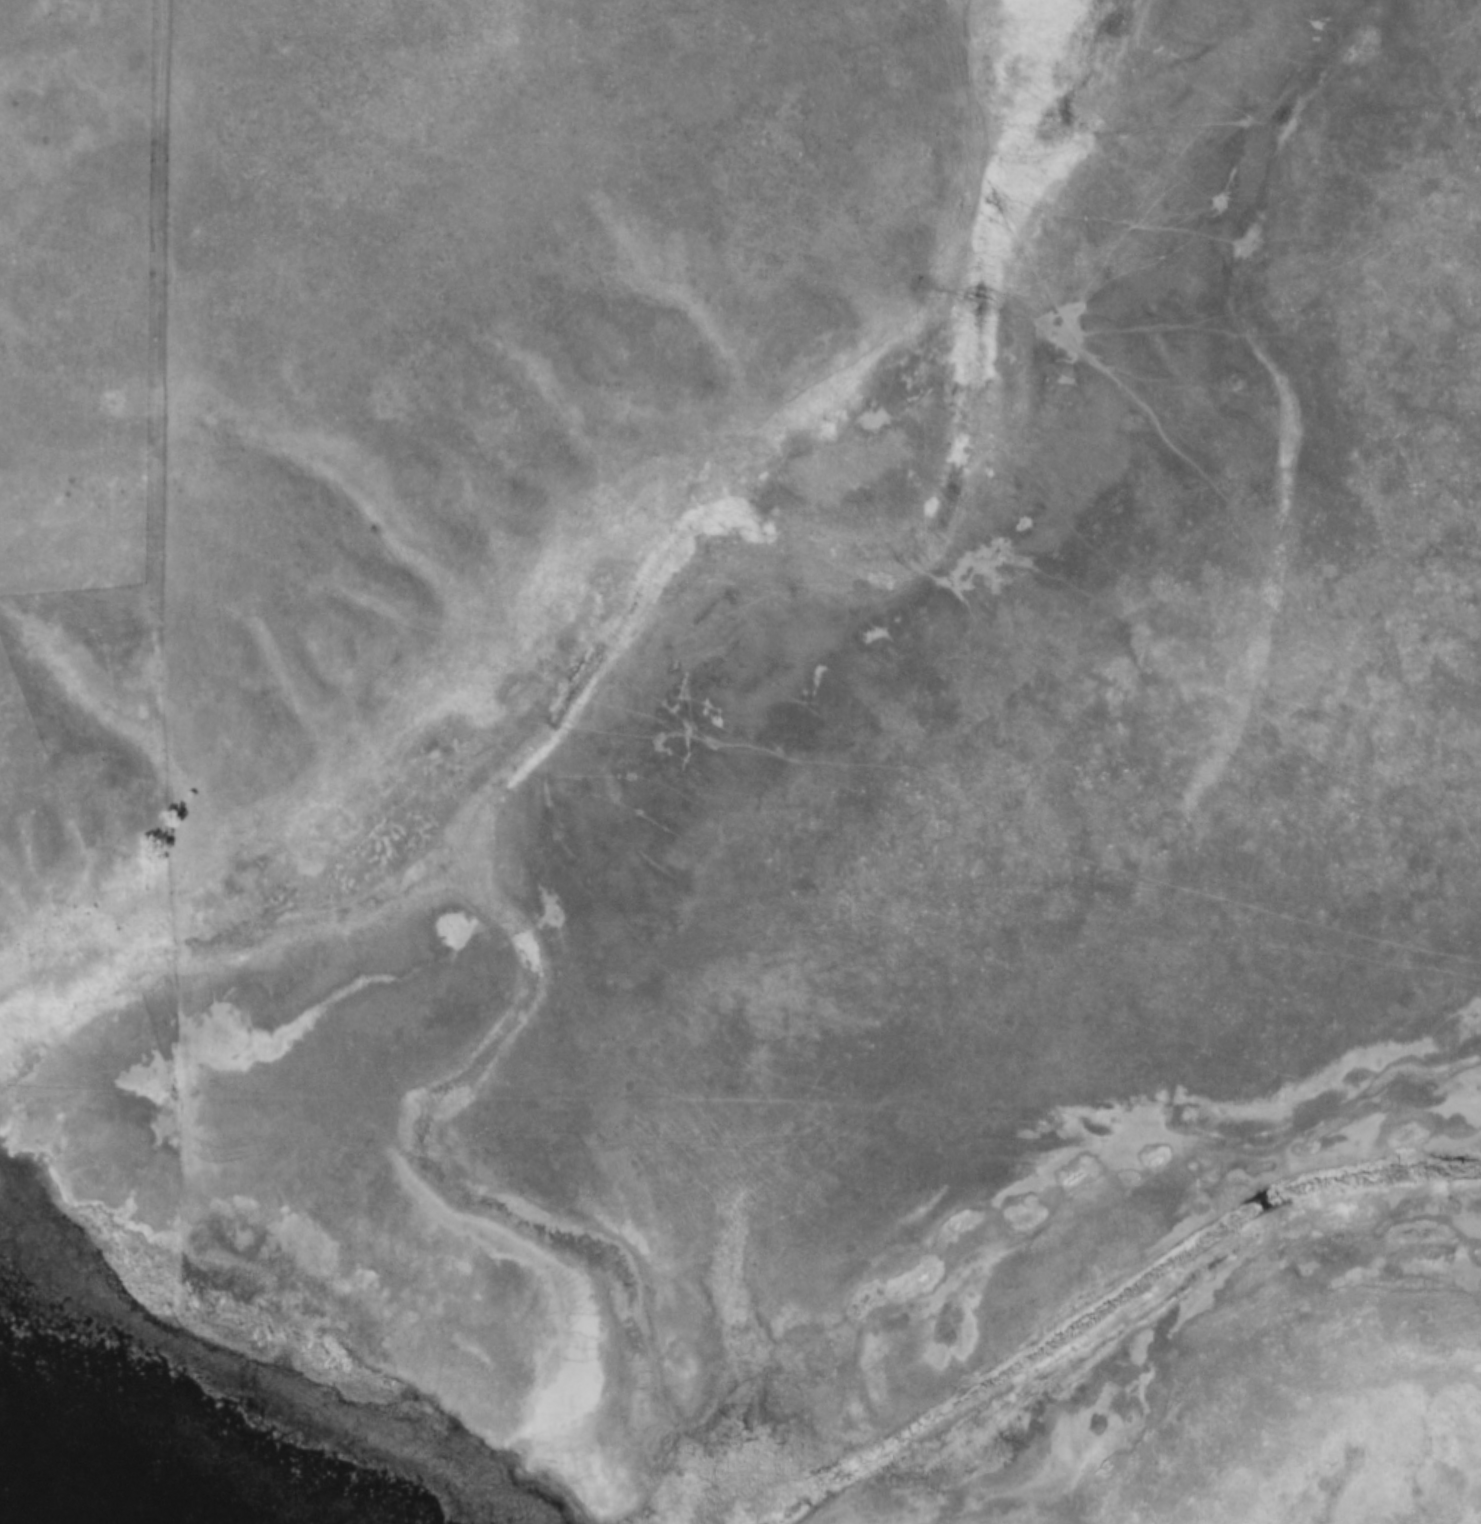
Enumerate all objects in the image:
road: (158, 361)

